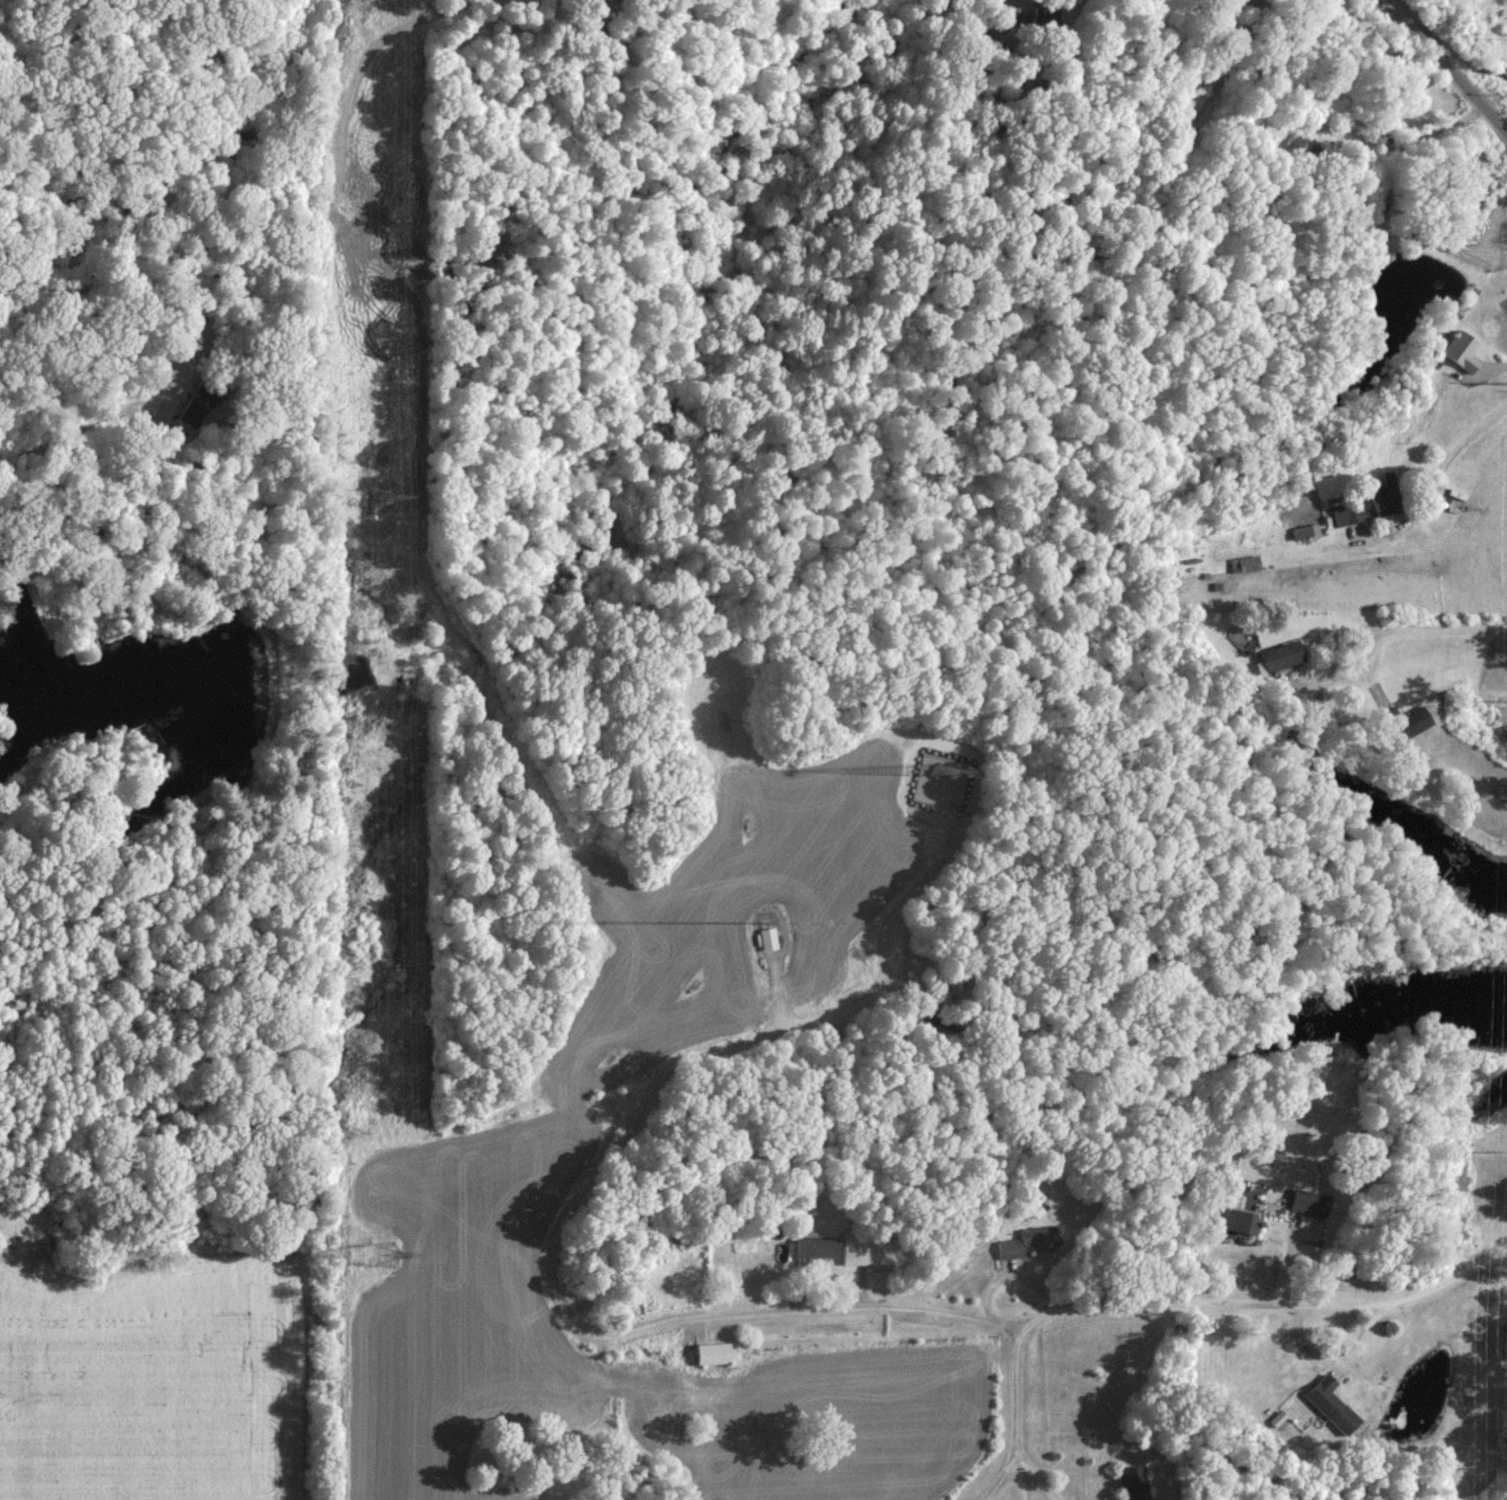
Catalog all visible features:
road: (1085, 49)
road: (1443, 65)
building: (1301, 148)
road: (285, 252)
building: (1461, 350)
road: (1495, 366)
road: (1436, 480)
building: (1386, 497)
power tower: (376, 499)
building: (1346, 512)
building: (1304, 530)
building: (1244, 564)
road: (1392, 626)
building: (1280, 656)
building: (1406, 721)
building: (761, 944)
road: (770, 998)
building: (939, 1027)
building: (1309, 1201)
building: (1036, 1209)
building: (1239, 1220)
building: (1033, 1240)
building: (807, 1253)
building: (1004, 1253)
power tower: (383, 1256)
road: (547, 1258)
building: (853, 1258)
road: (1010, 1270)
road: (983, 1301)
road: (1298, 1308)
building: (706, 1358)
road: (1331, 1364)
building: (1326, 1408)
road: (1011, 1416)
building: (1277, 1417)
road: (998, 1477)
building: (1132, 1483)

